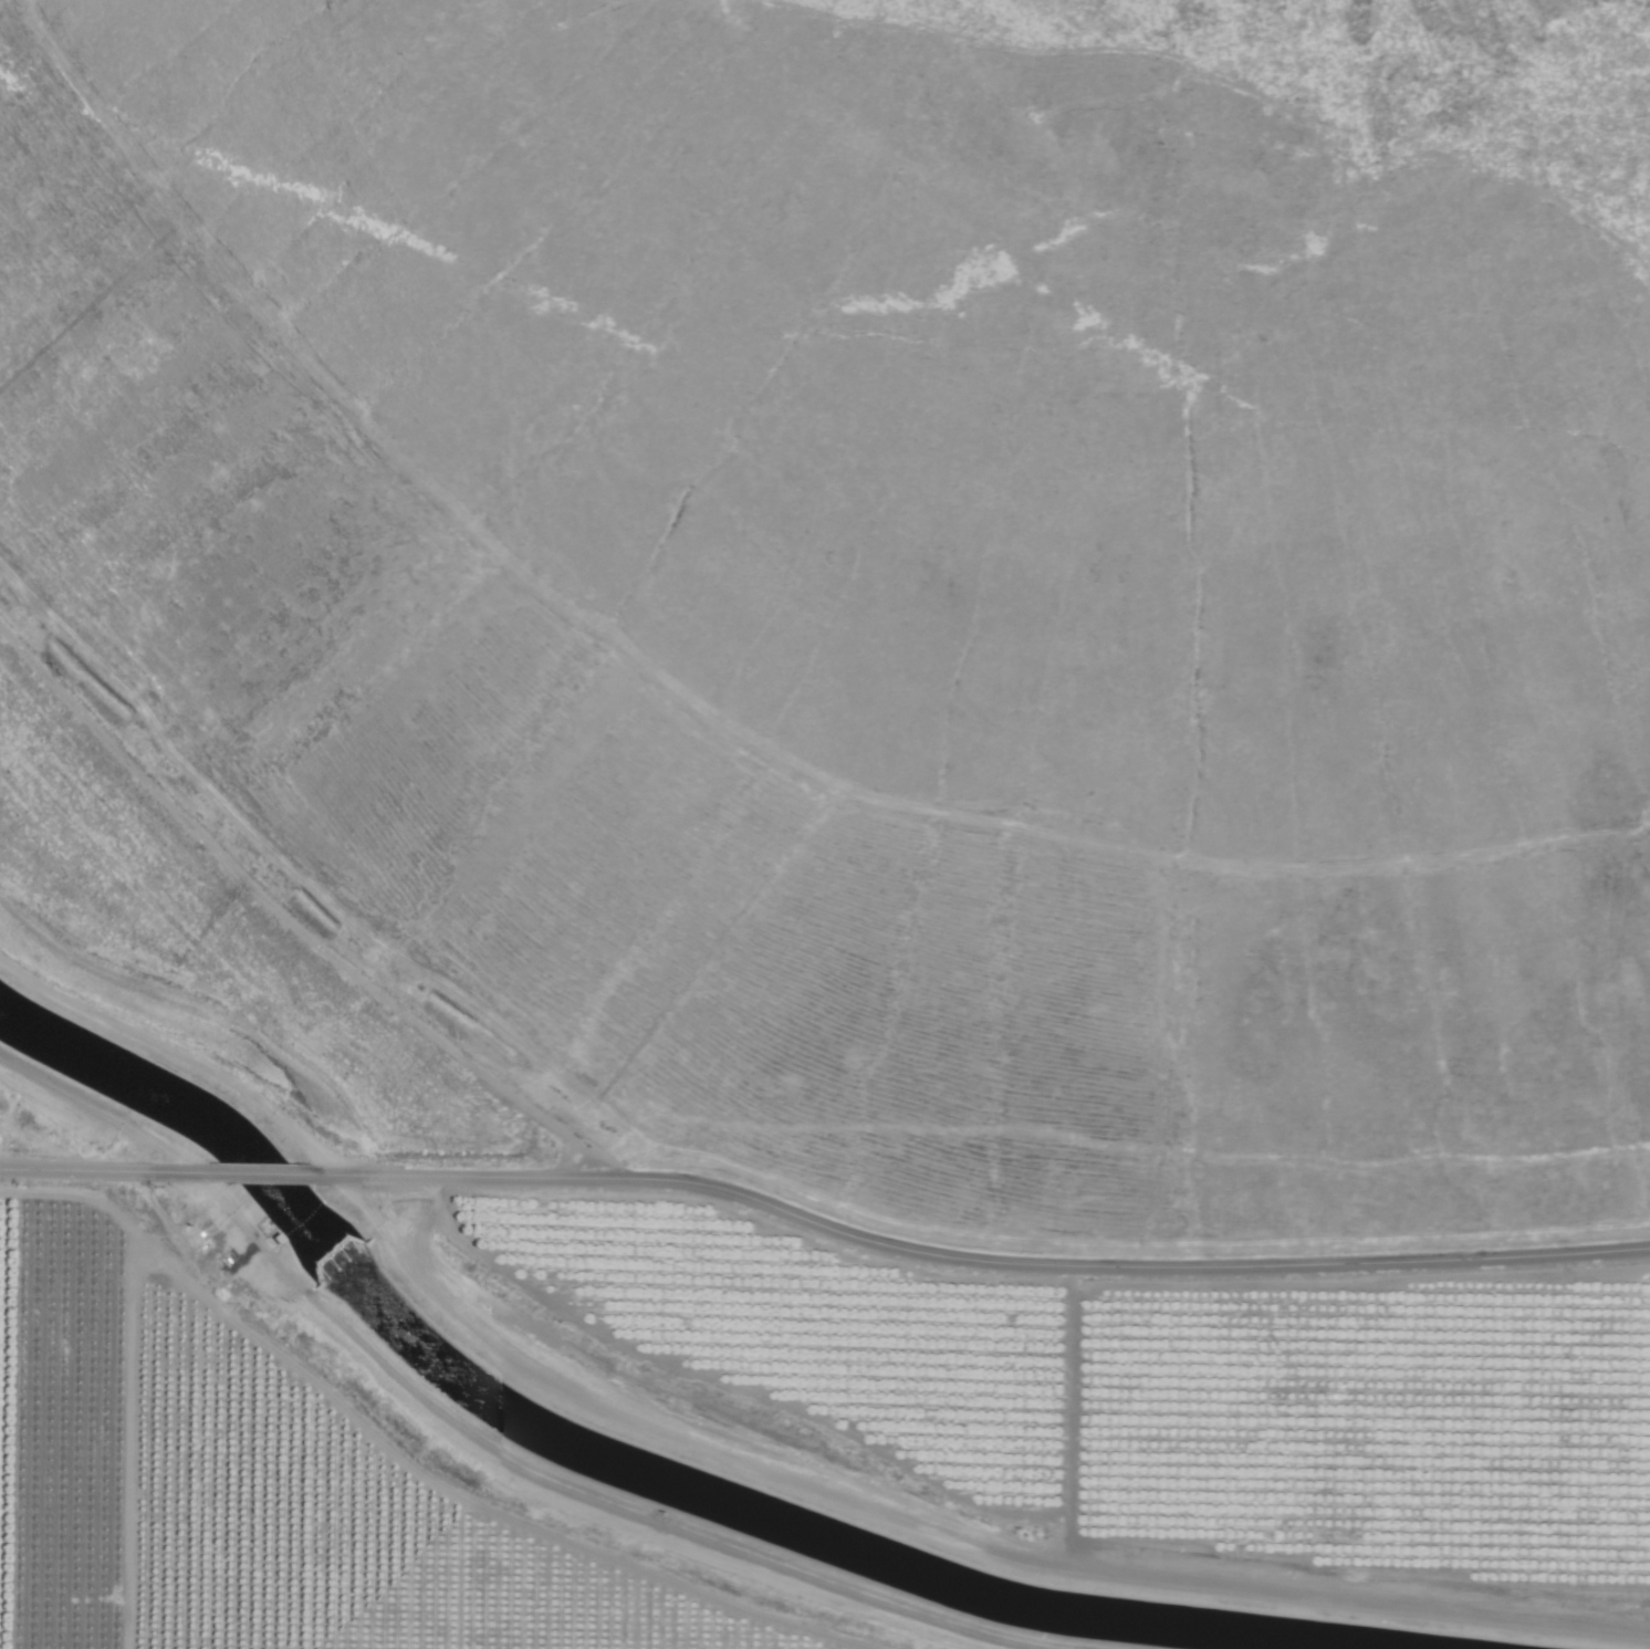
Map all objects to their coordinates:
road: (94, 1115)
crop: (45, 1150)
road: (106, 1171)
road: (275, 1172)
road: (988, 1261)
crop: (352, 1491)

